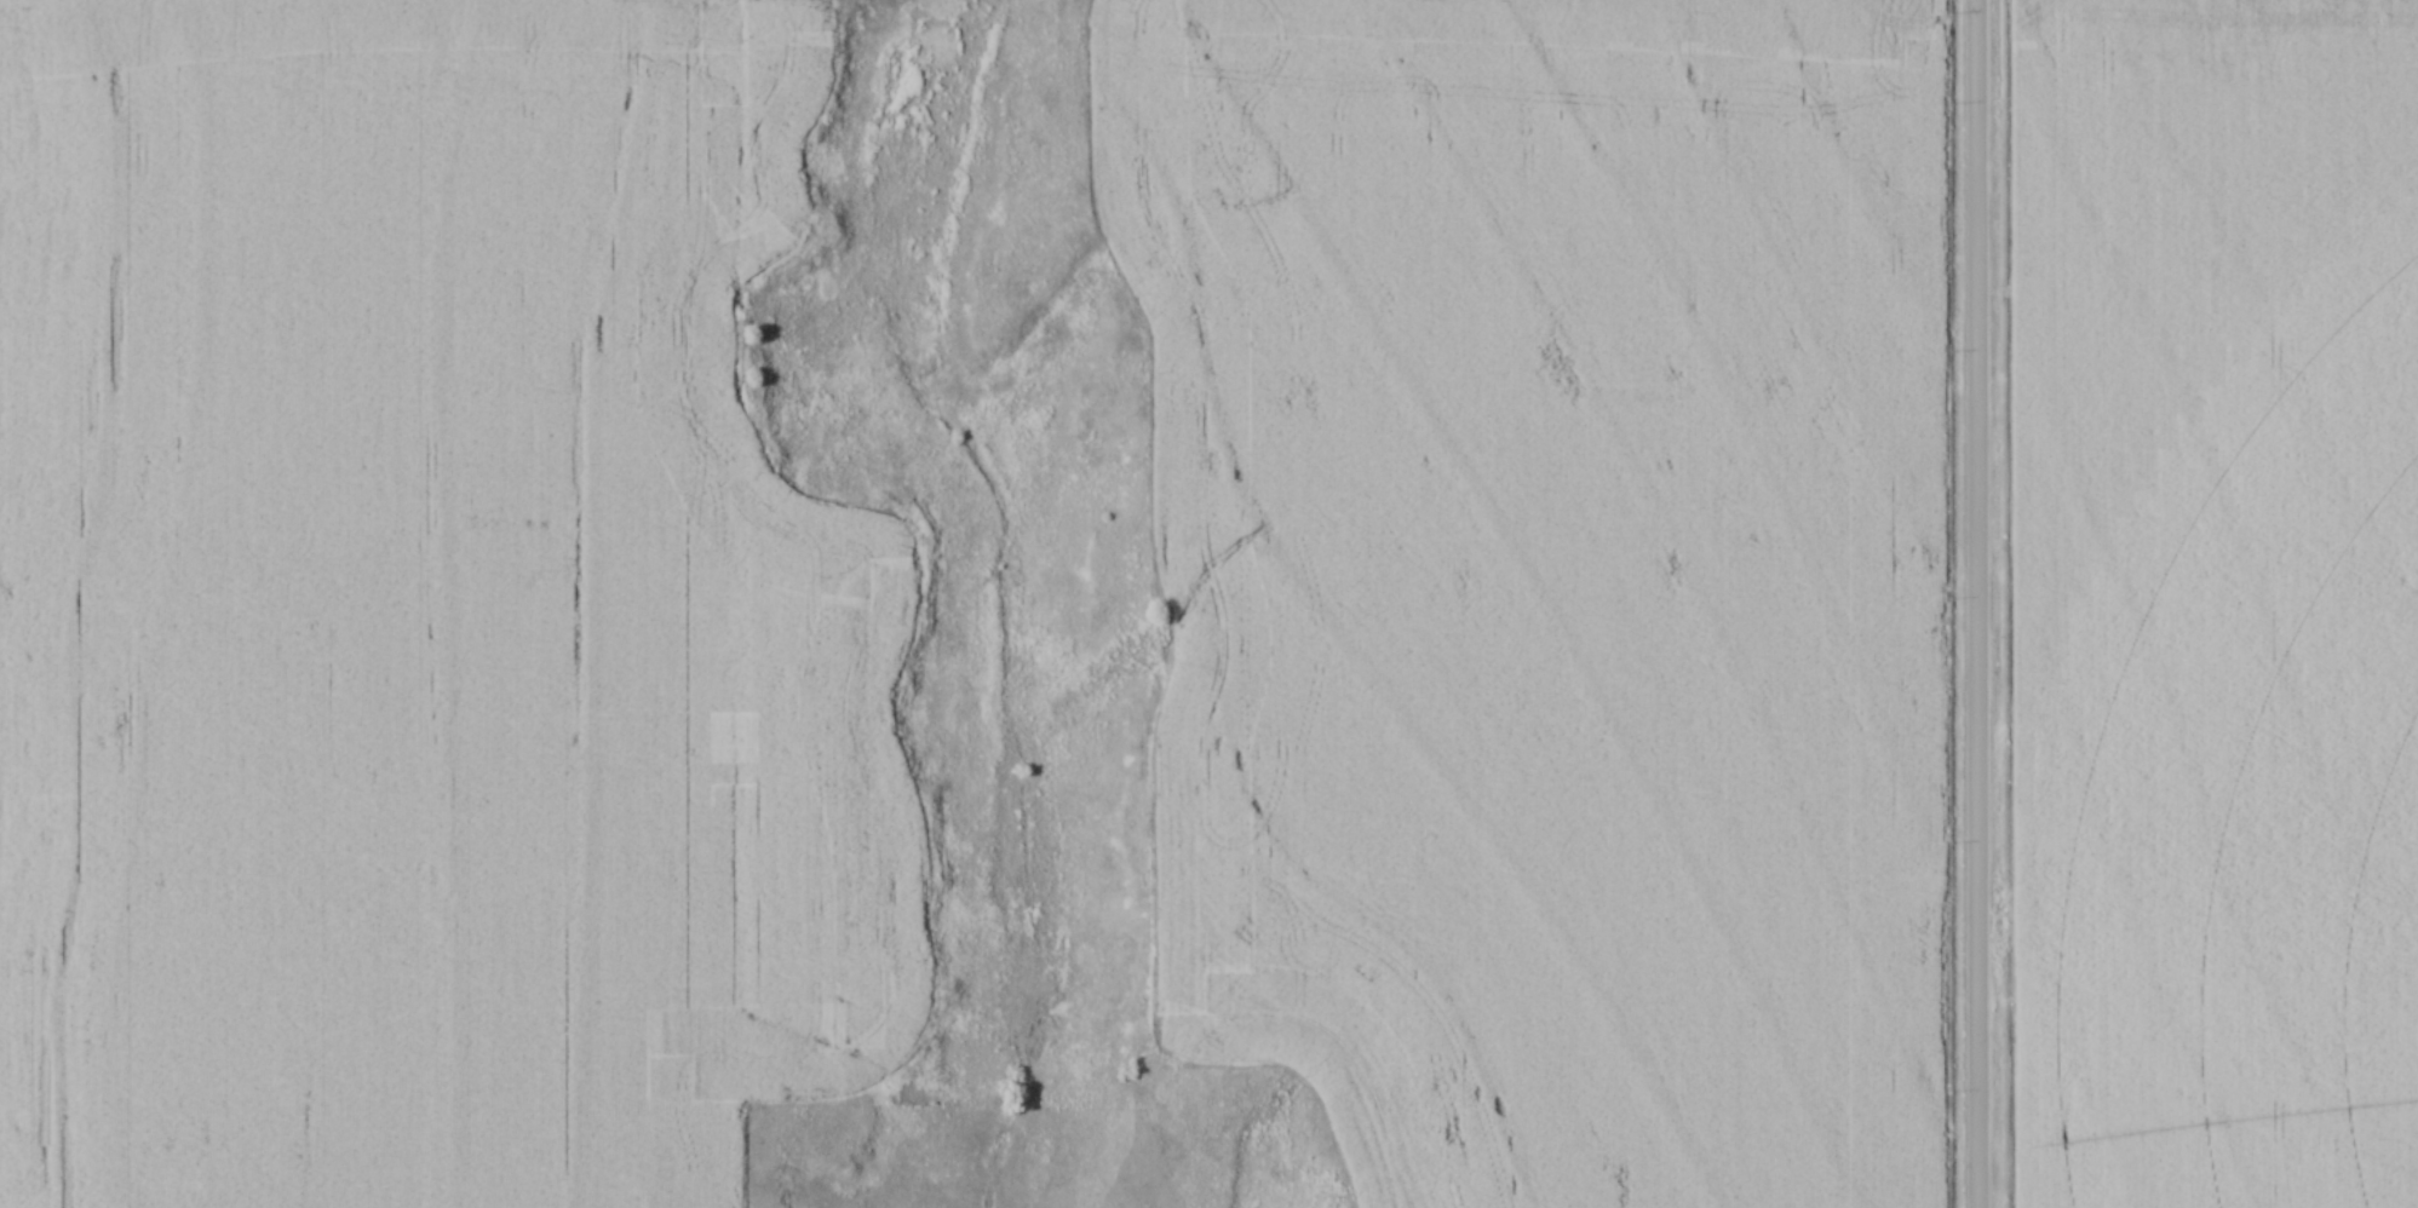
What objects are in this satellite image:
road: (1971, 603)

